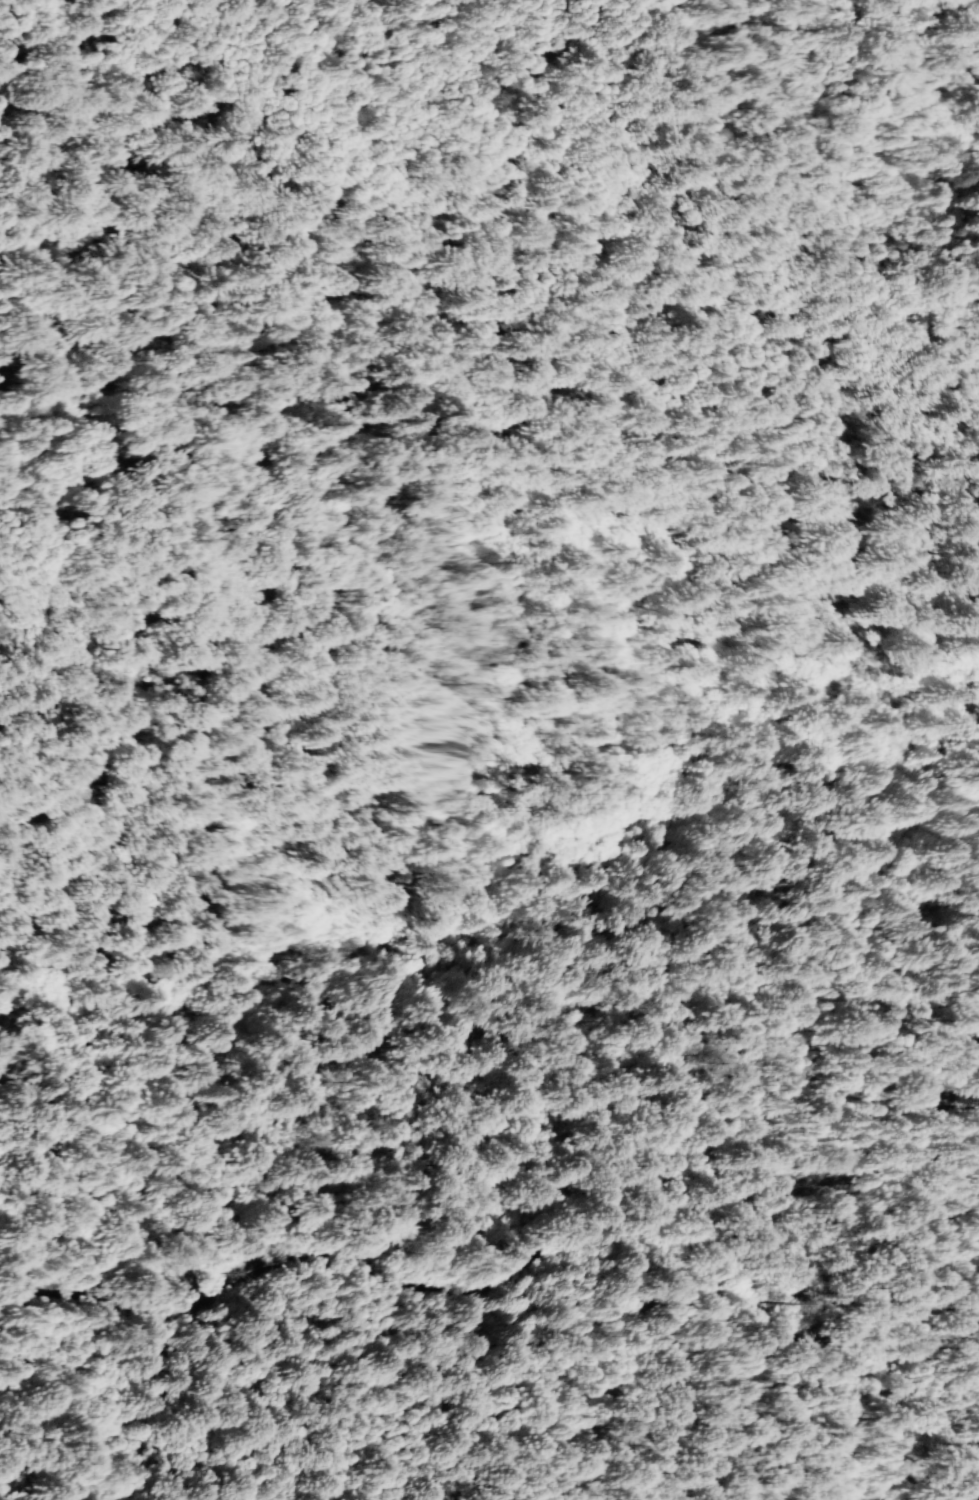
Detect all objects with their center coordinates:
road: (764, 132)
road: (809, 562)
road: (931, 690)
road: (902, 739)
road: (9, 1248)
road: (552, 1257)
road: (51, 1276)

